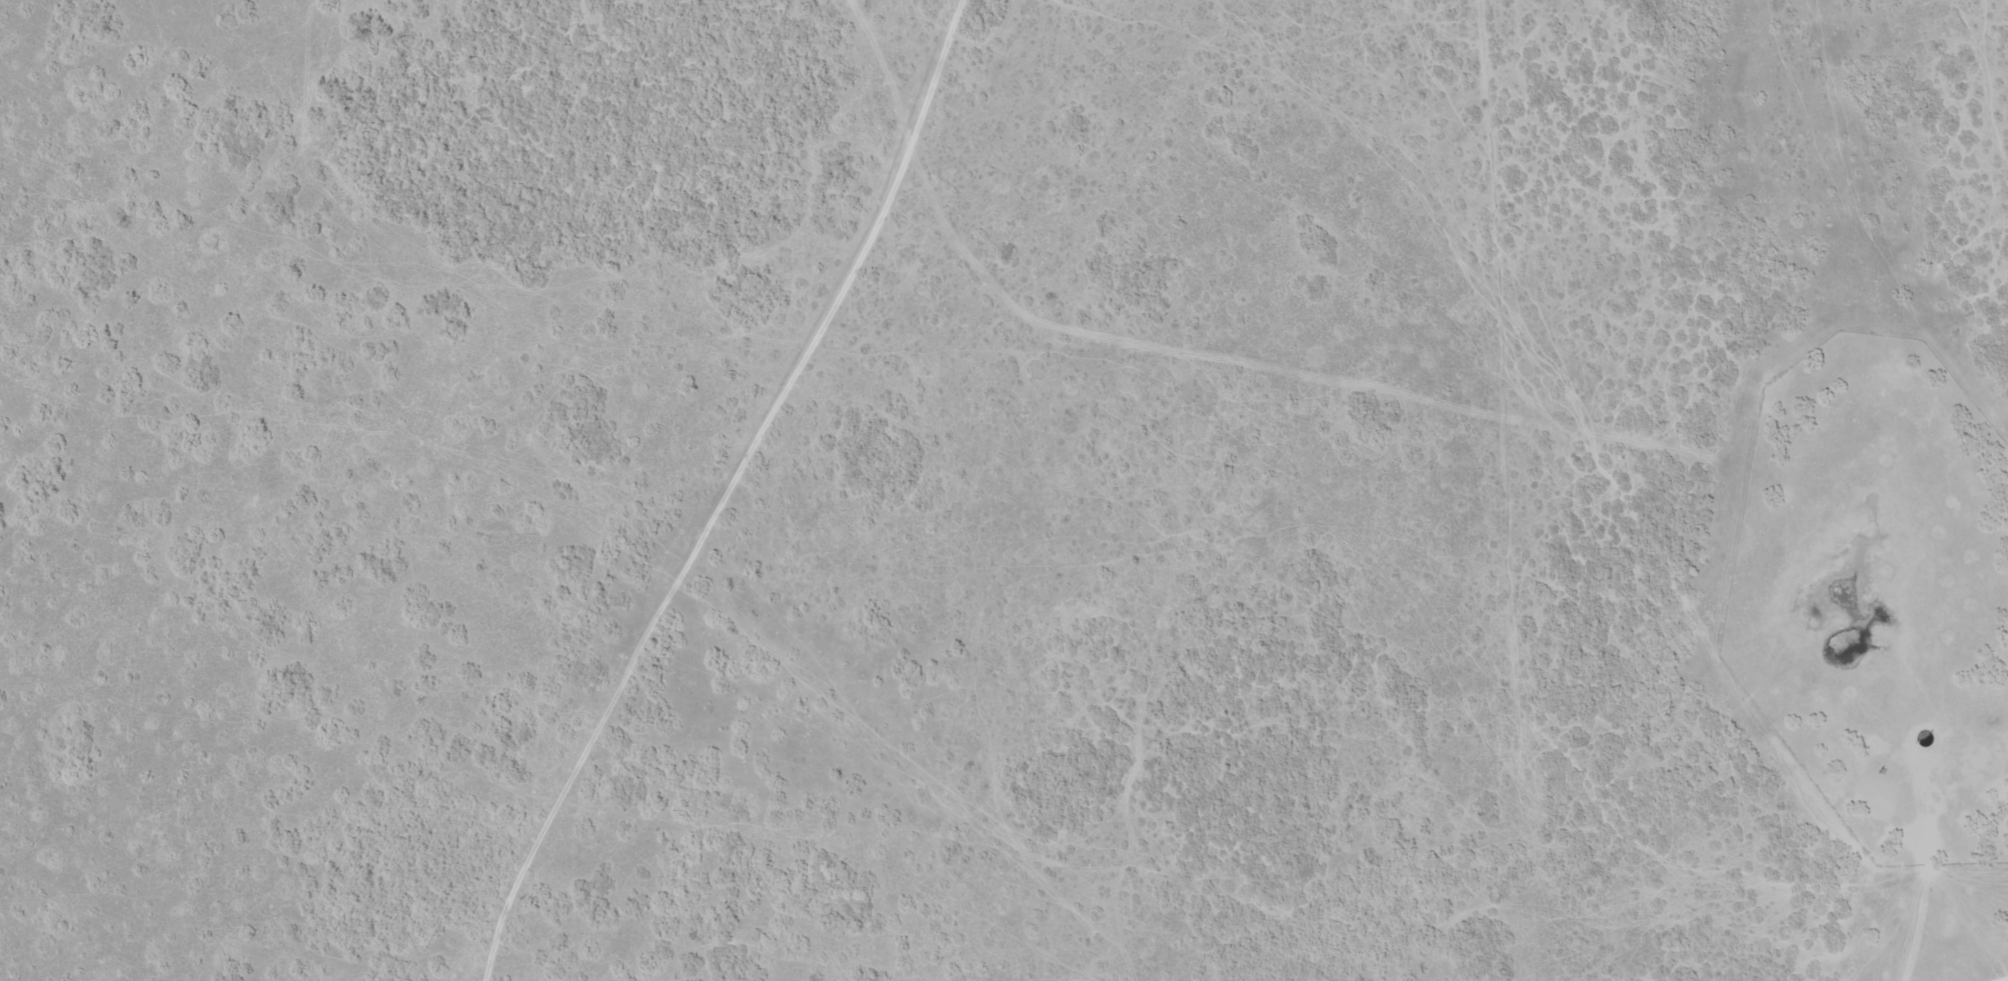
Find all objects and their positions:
road: (1804, 855)

